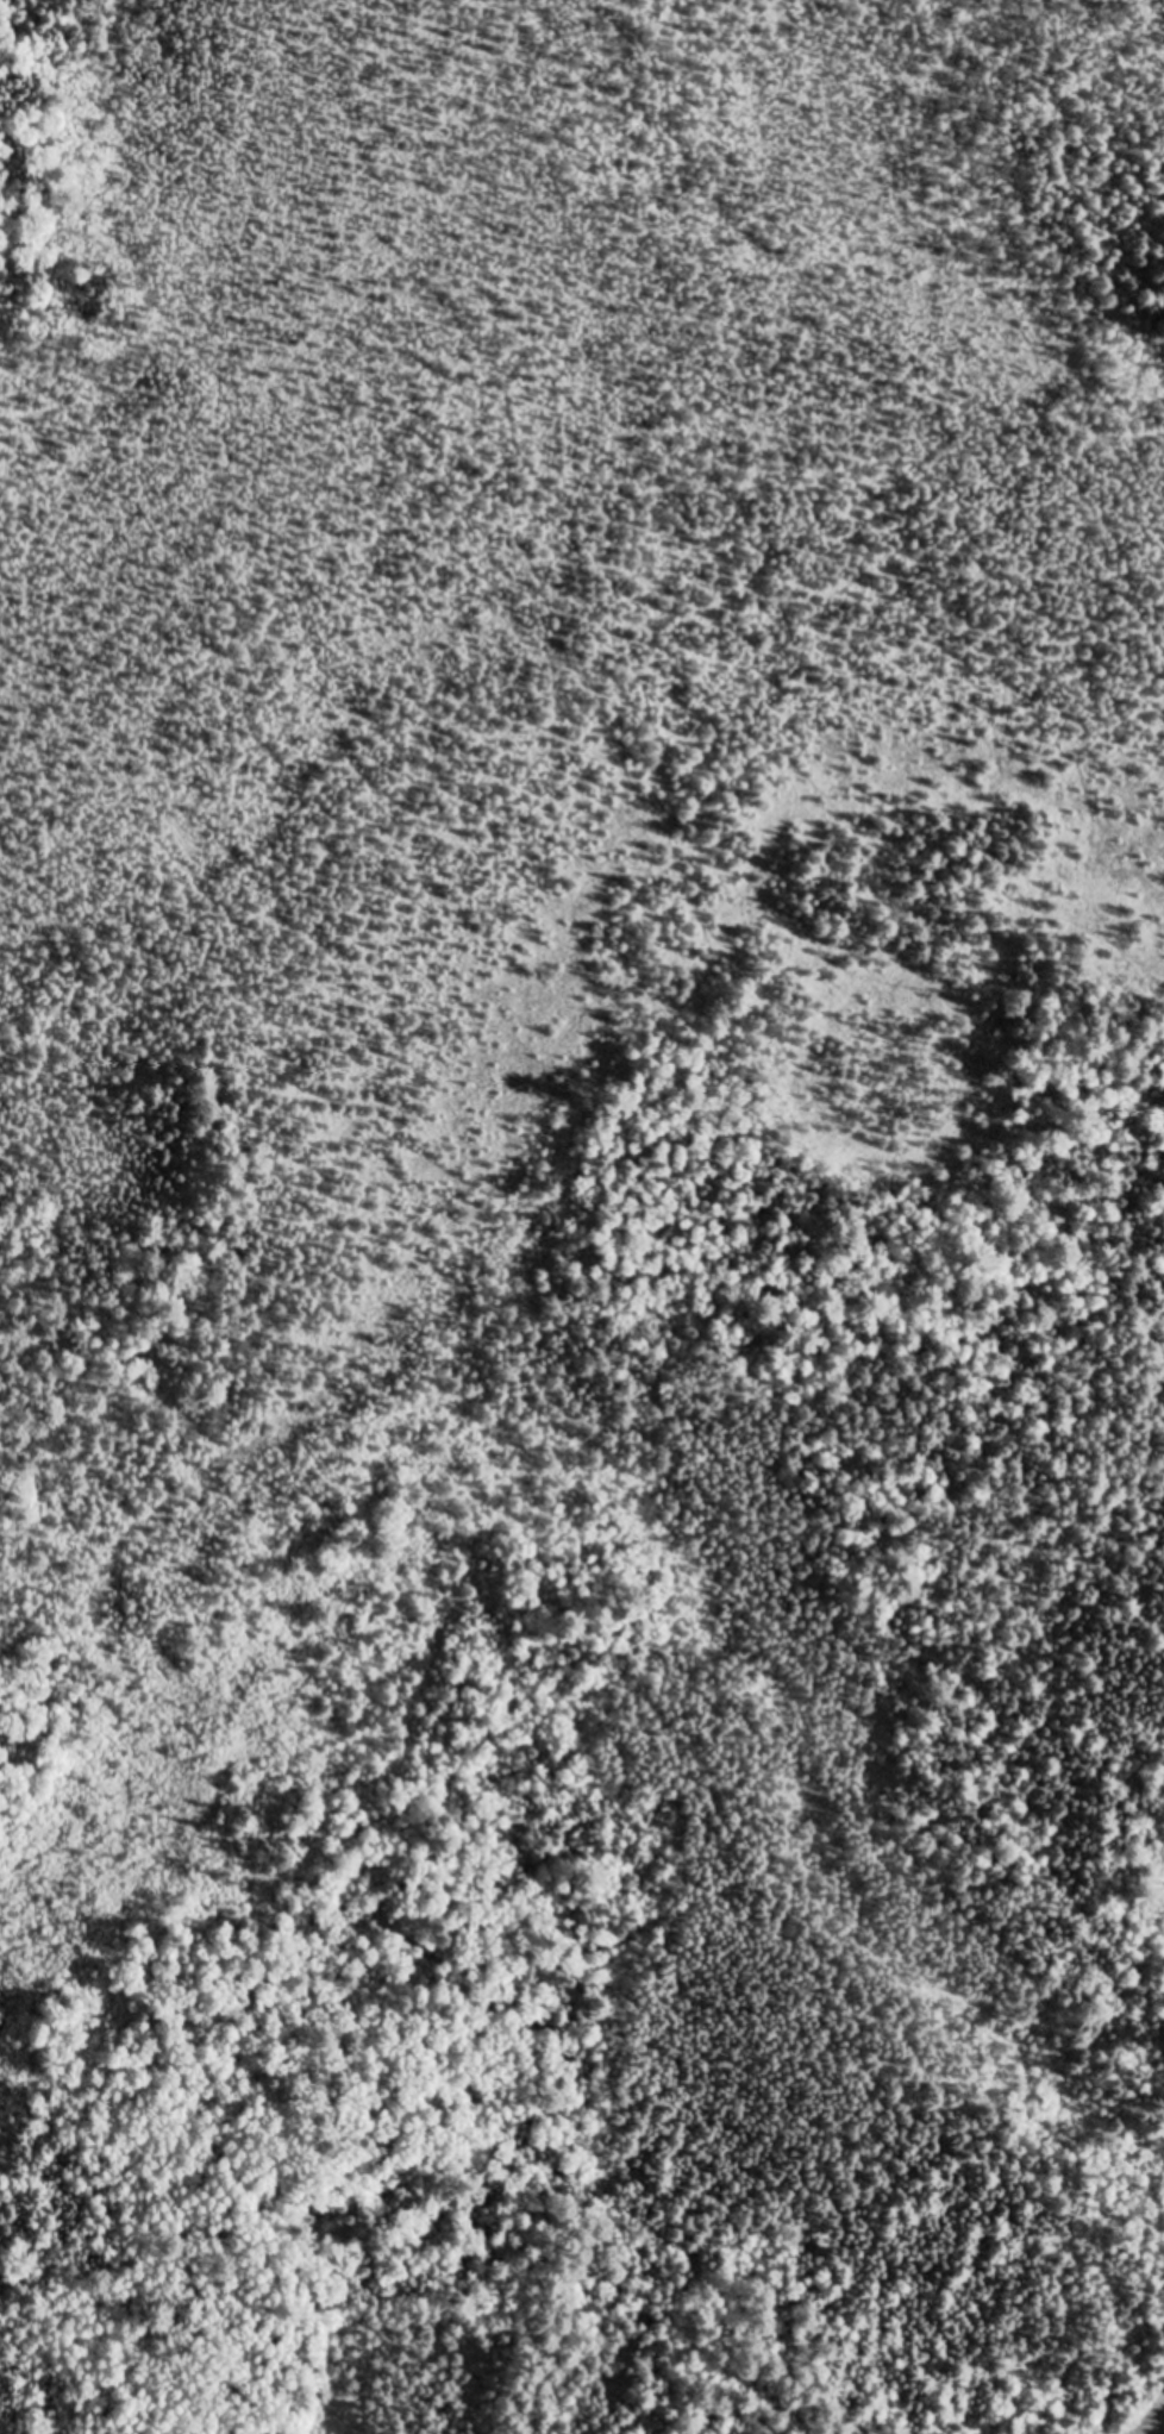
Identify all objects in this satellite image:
park: (1124, 2365)

